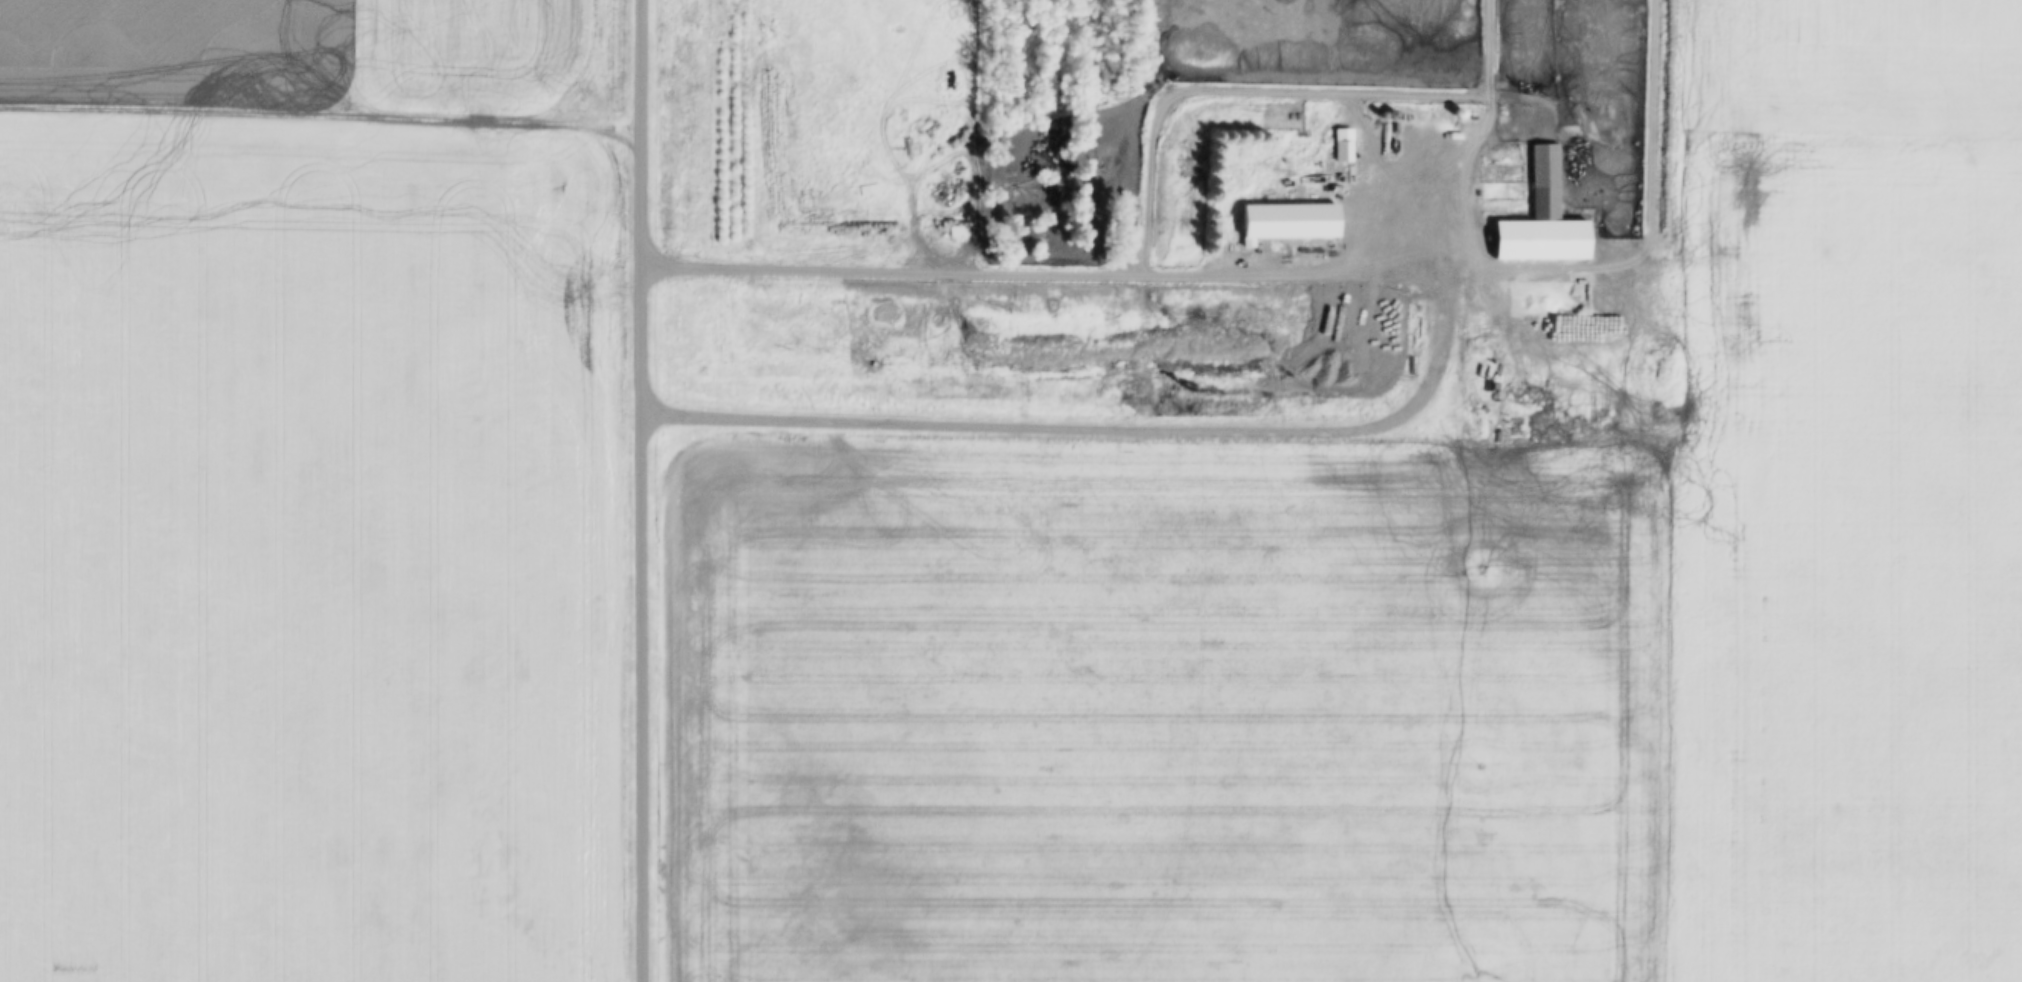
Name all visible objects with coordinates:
road: (321, 101)
building: (1346, 144)
building: (928, 163)
building: (1547, 219)
road: (1217, 430)
road: (642, 491)

